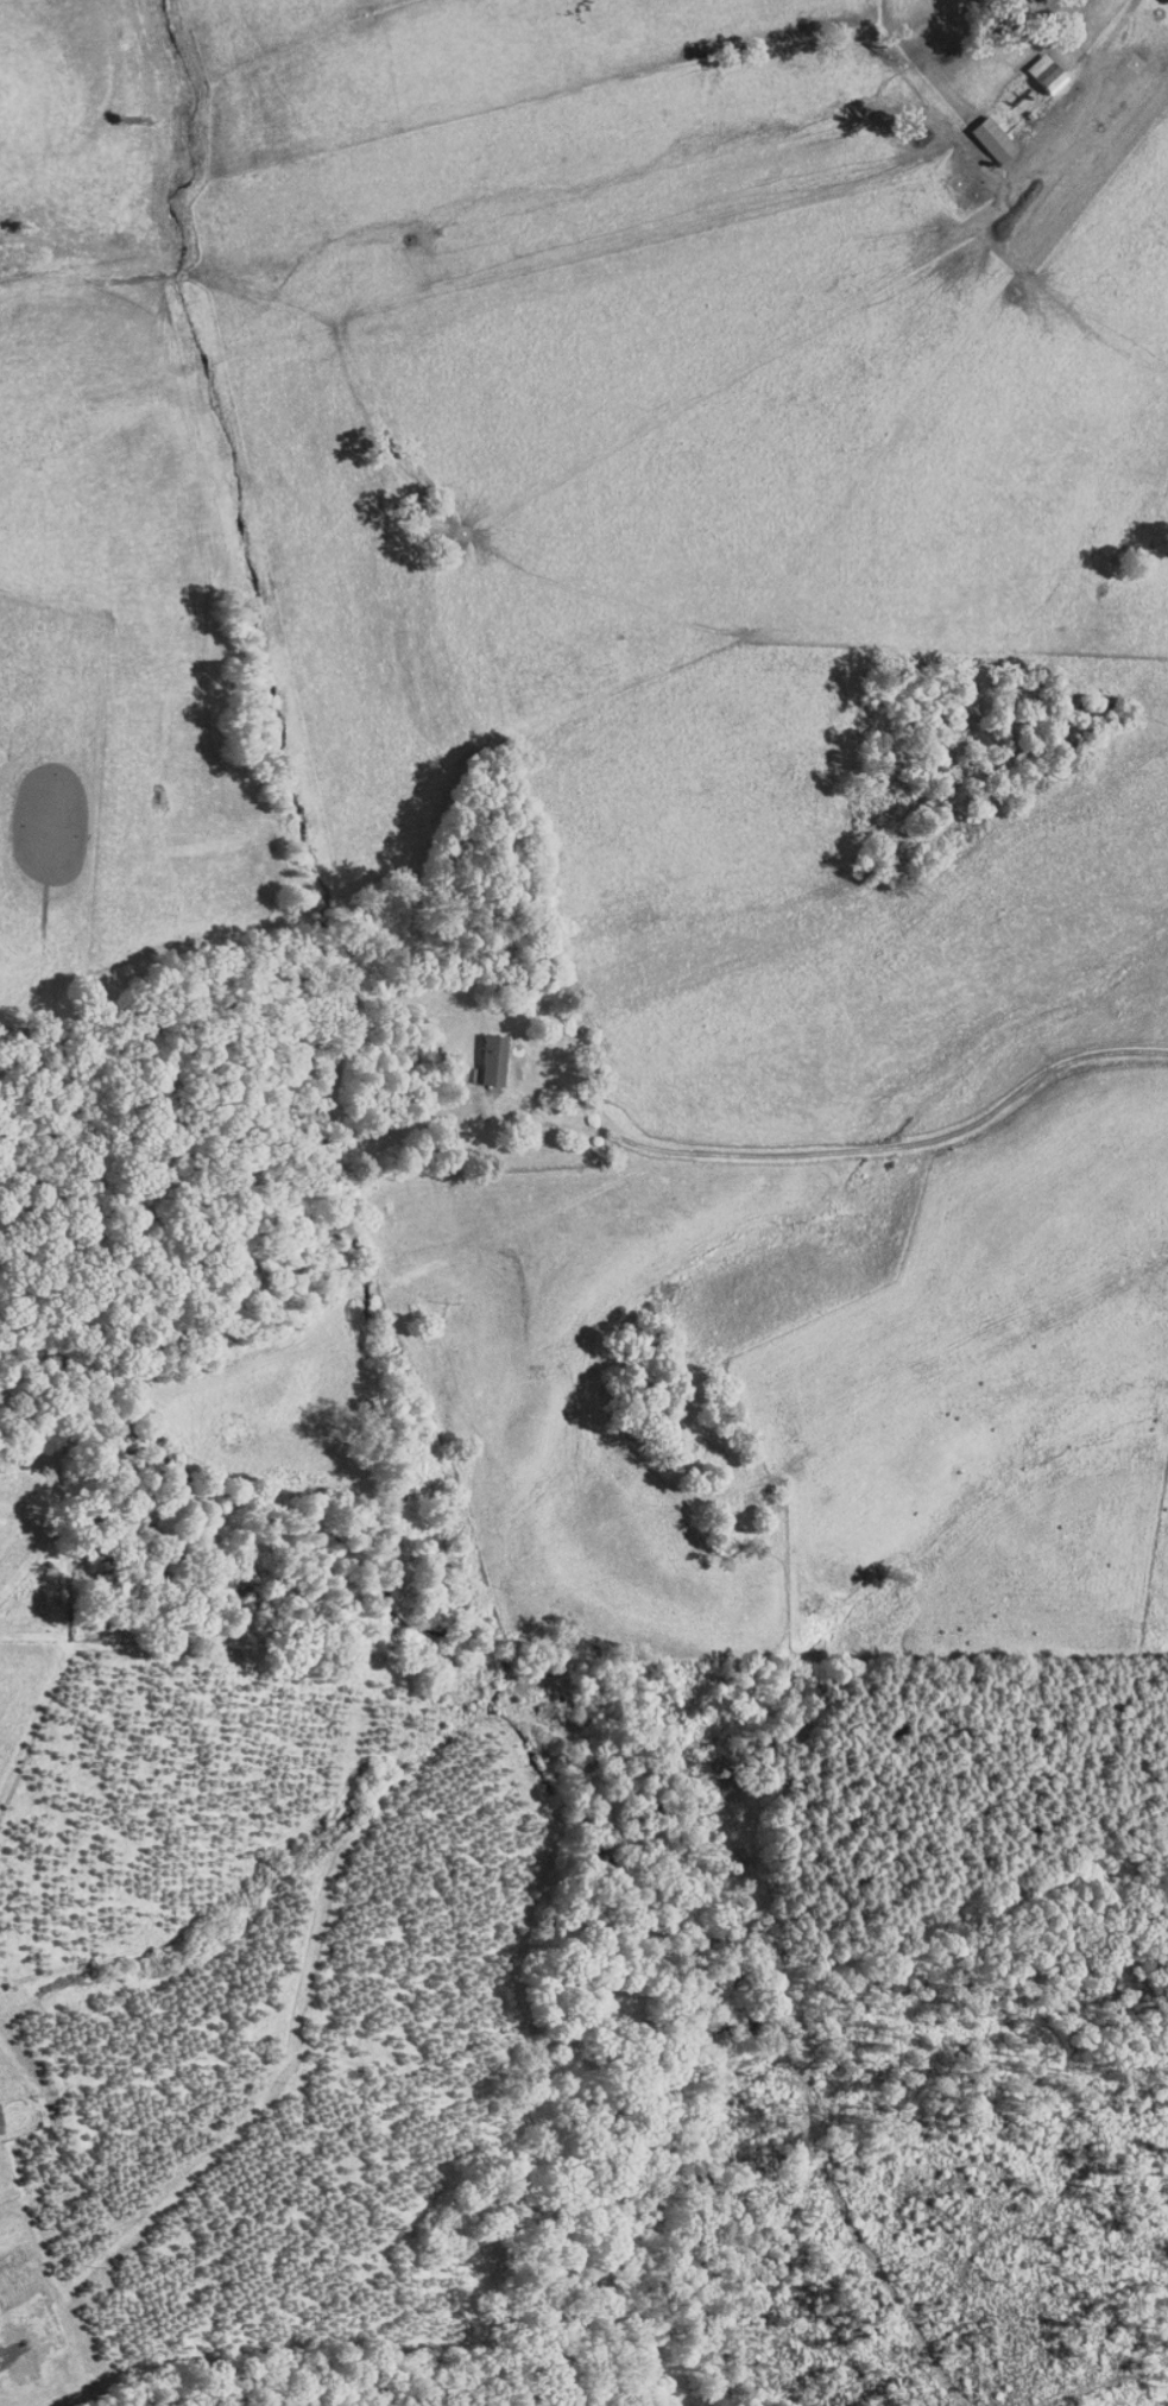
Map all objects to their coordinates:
road: (1115, 19)
building: (1036, 67)
building: (983, 132)
building: (482, 1052)
road: (833, 1147)

